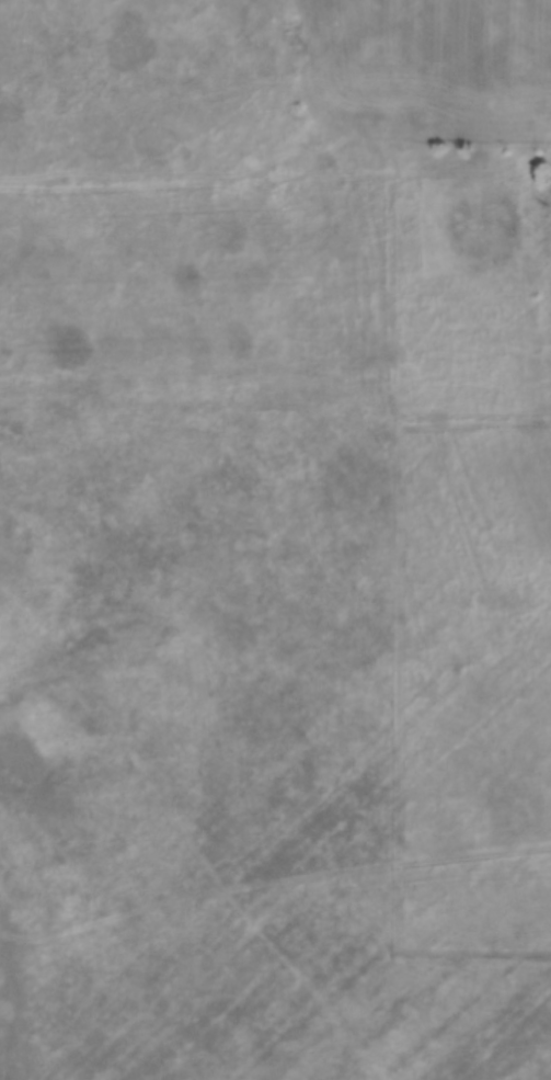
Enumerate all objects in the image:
road: (0, 1055)

